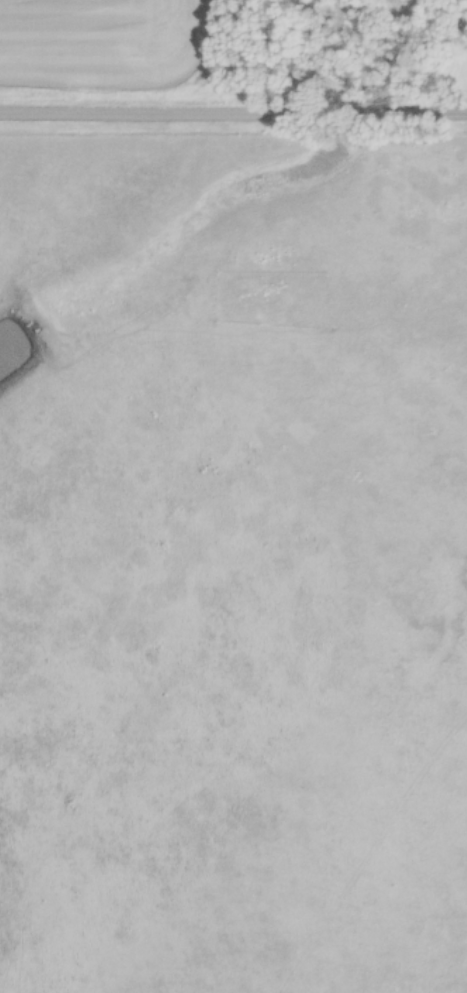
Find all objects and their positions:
road: (233, 115)

